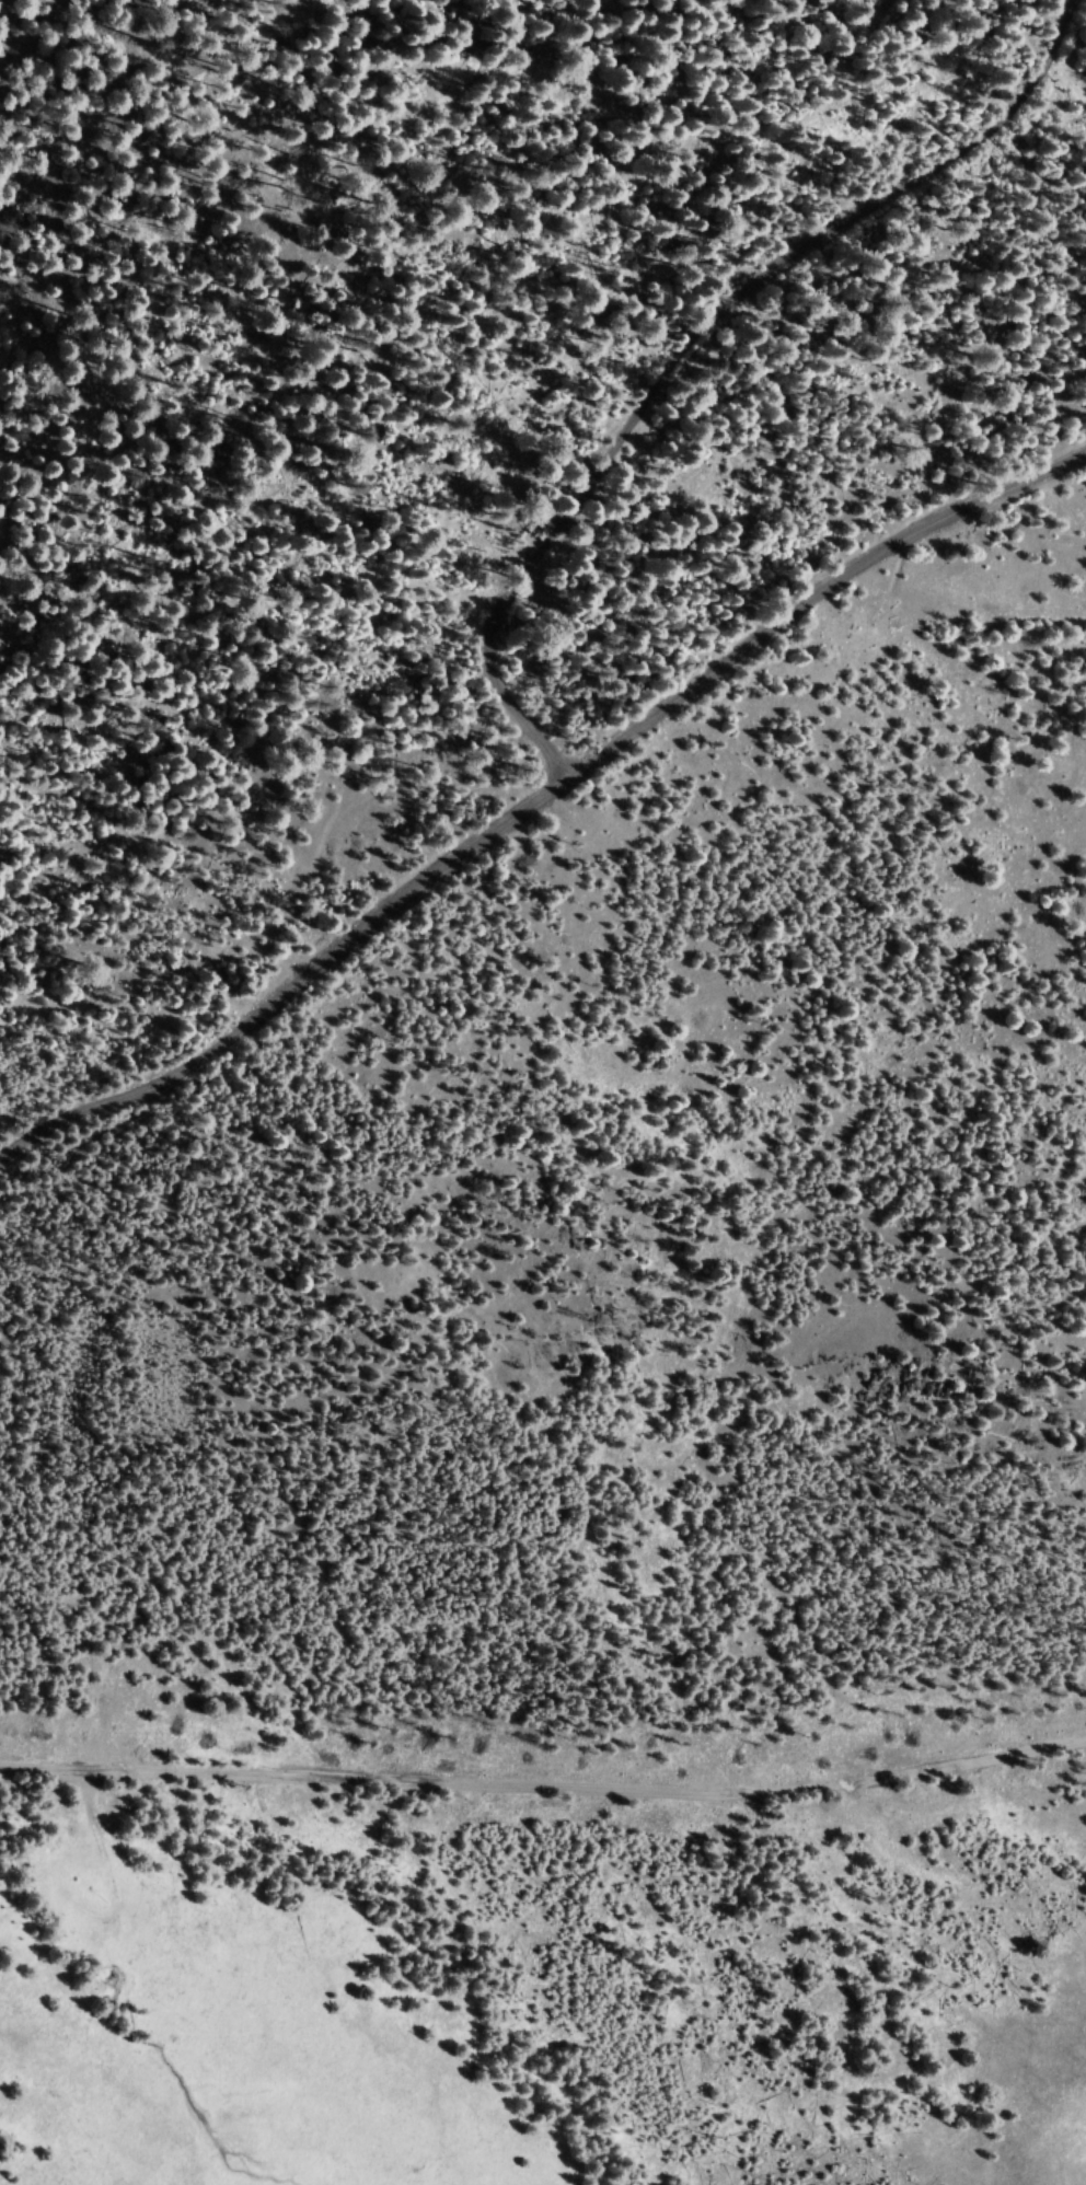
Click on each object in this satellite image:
road: (693, 334)
road: (530, 801)
road: (544, 1784)
road: (90, 1793)

